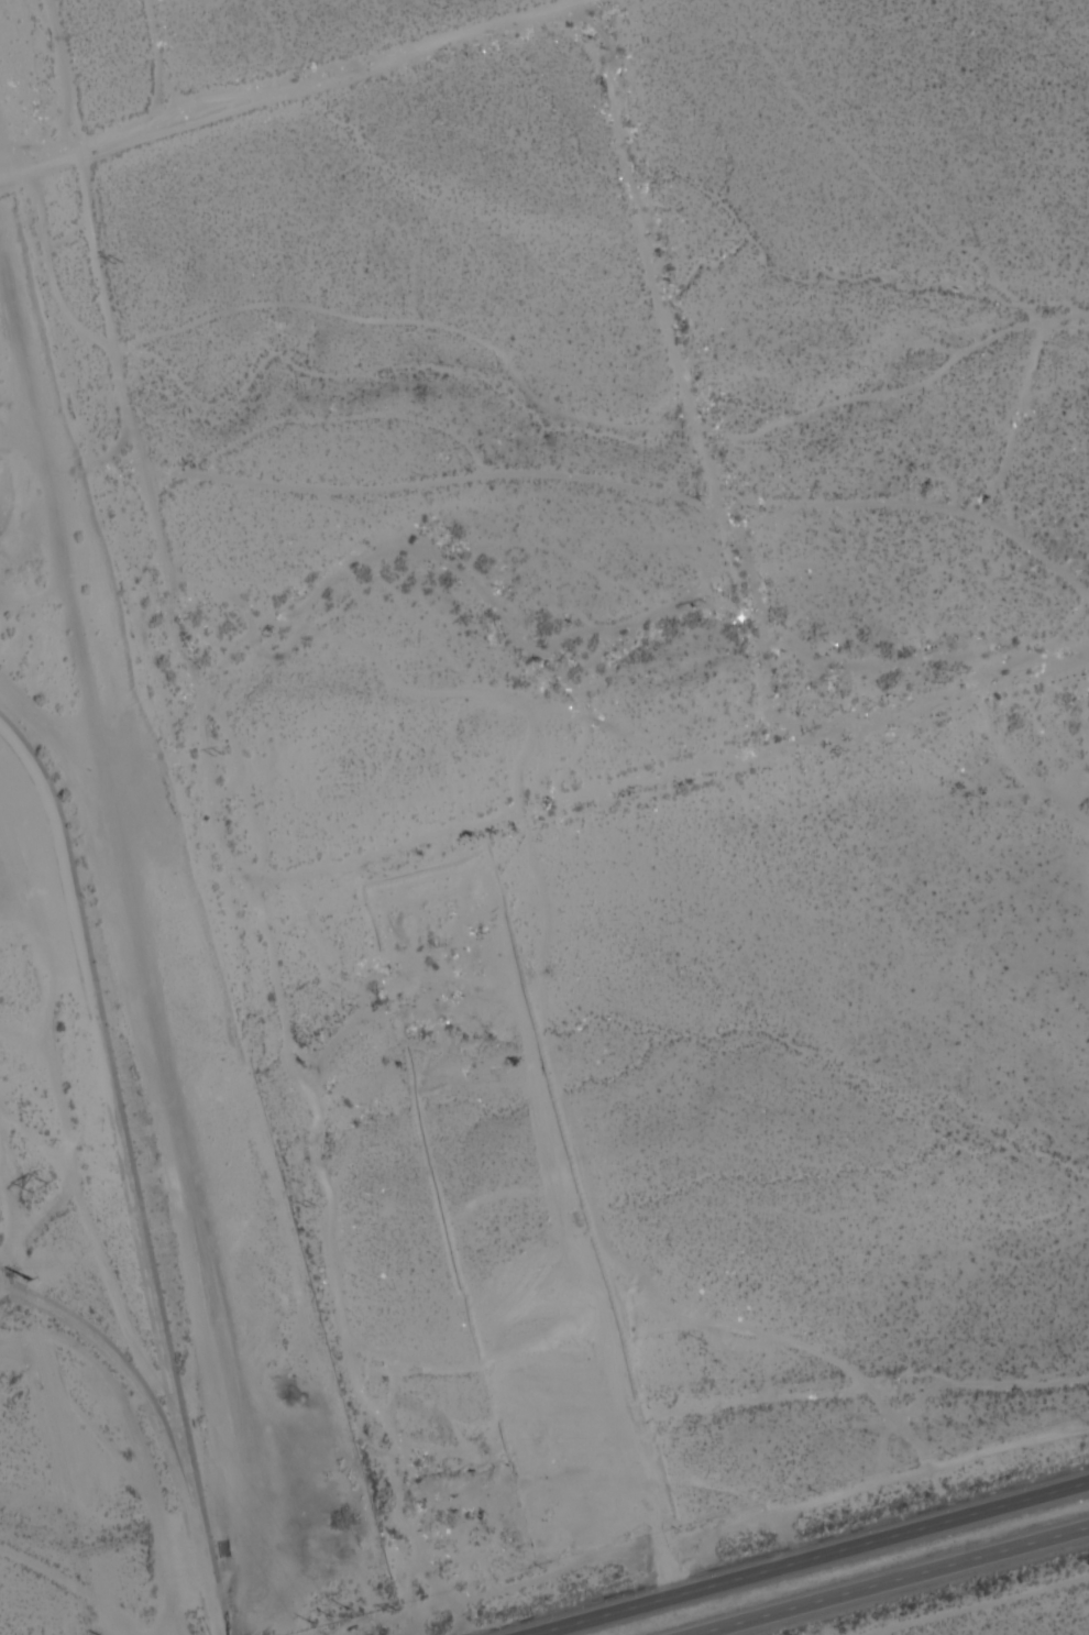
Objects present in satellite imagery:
road: (290, 86)
road: (652, 235)
power tower: (118, 265)
road: (265, 485)
power tower: (217, 753)
power tower: (43, 1189)
power tower: (308, 1208)
power tower: (32, 1281)
road: (811, 1558)
road: (897, 1582)
power tower: (391, 1612)
power tower: (330, 1617)

